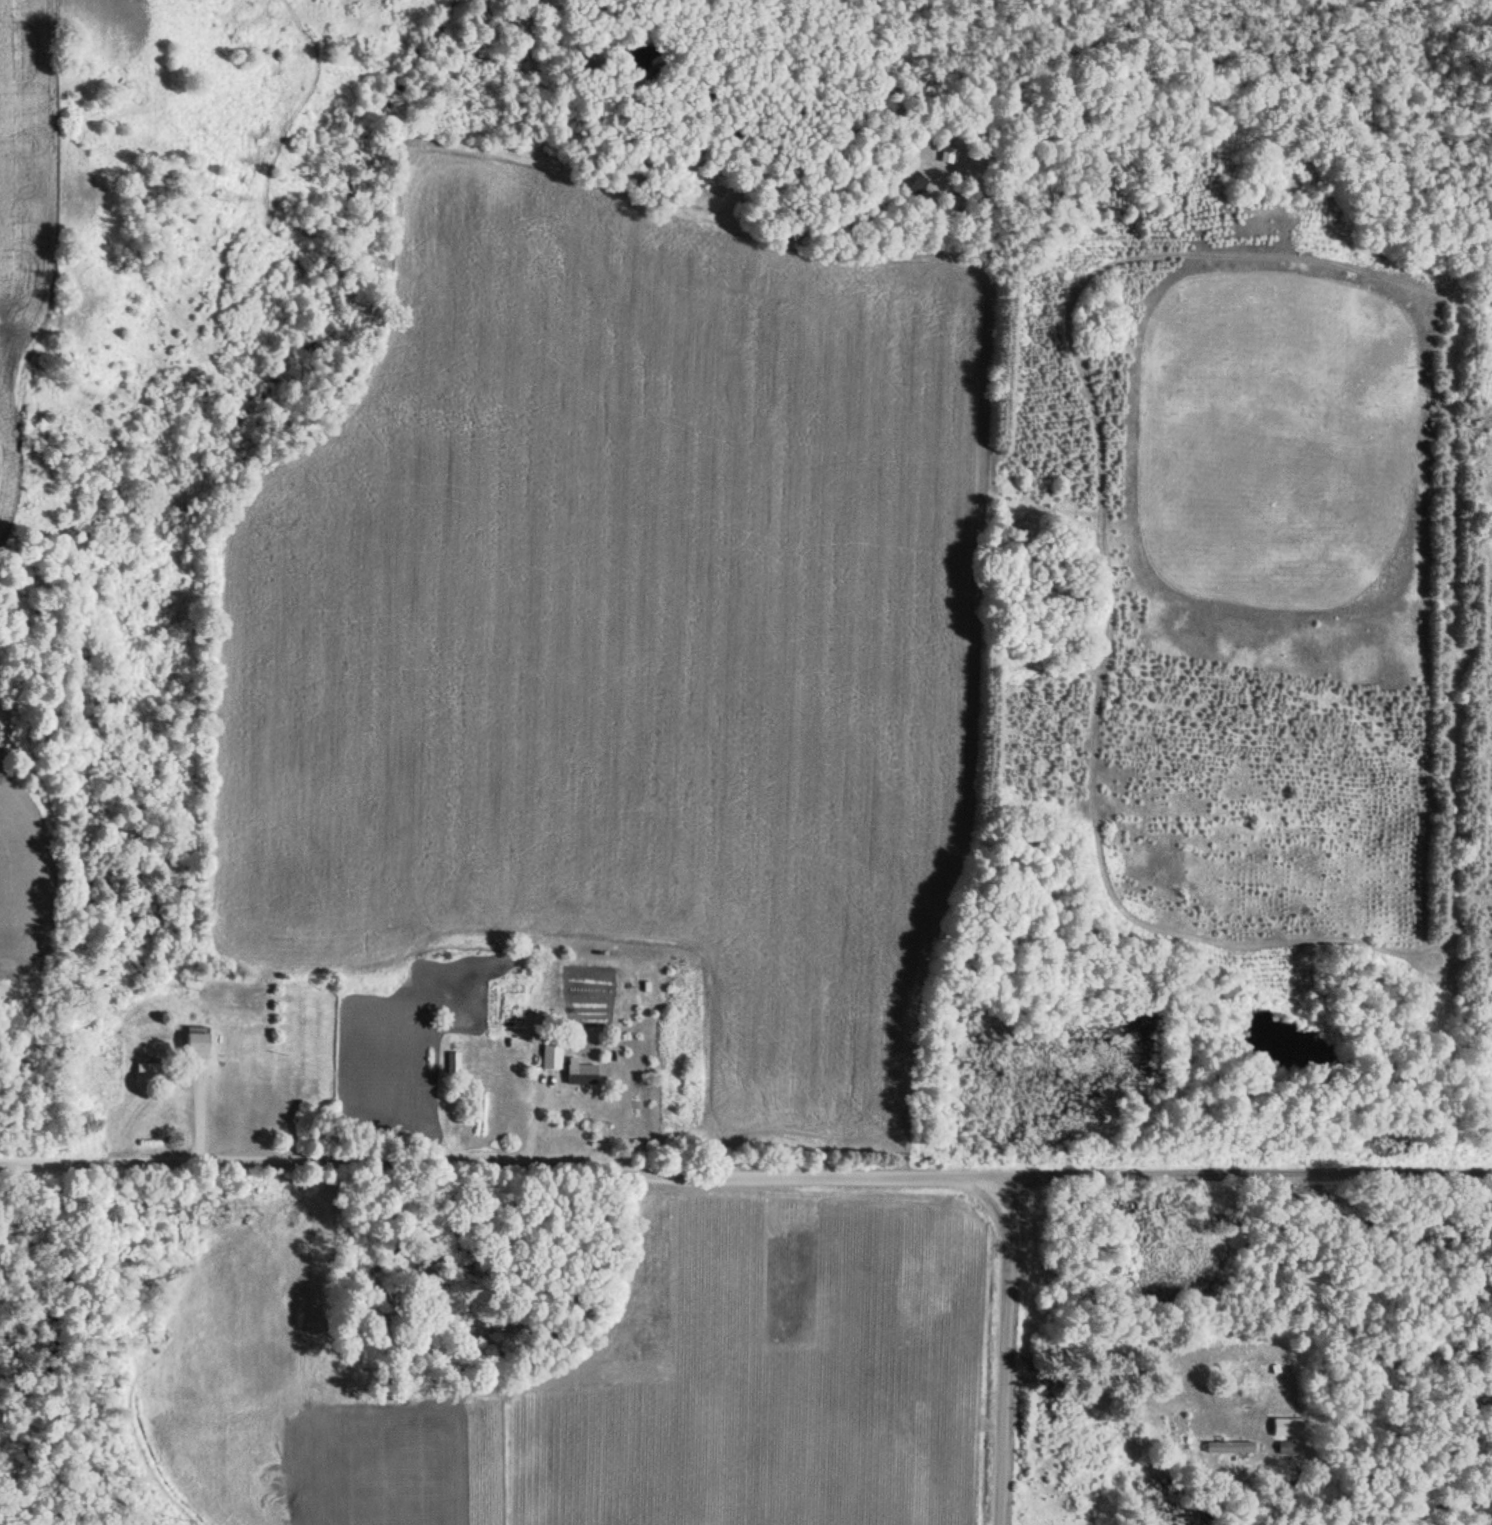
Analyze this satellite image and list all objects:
crop: (23, 198)
crop: (623, 620)
crop: (22, 864)
building: (1226, 991)
building: (192, 1047)
building: (452, 1064)
building: (145, 1072)
building: (579, 1075)
road: (746, 1153)
road: (989, 1339)
building: (1225, 1448)
building: (1283, 1449)

